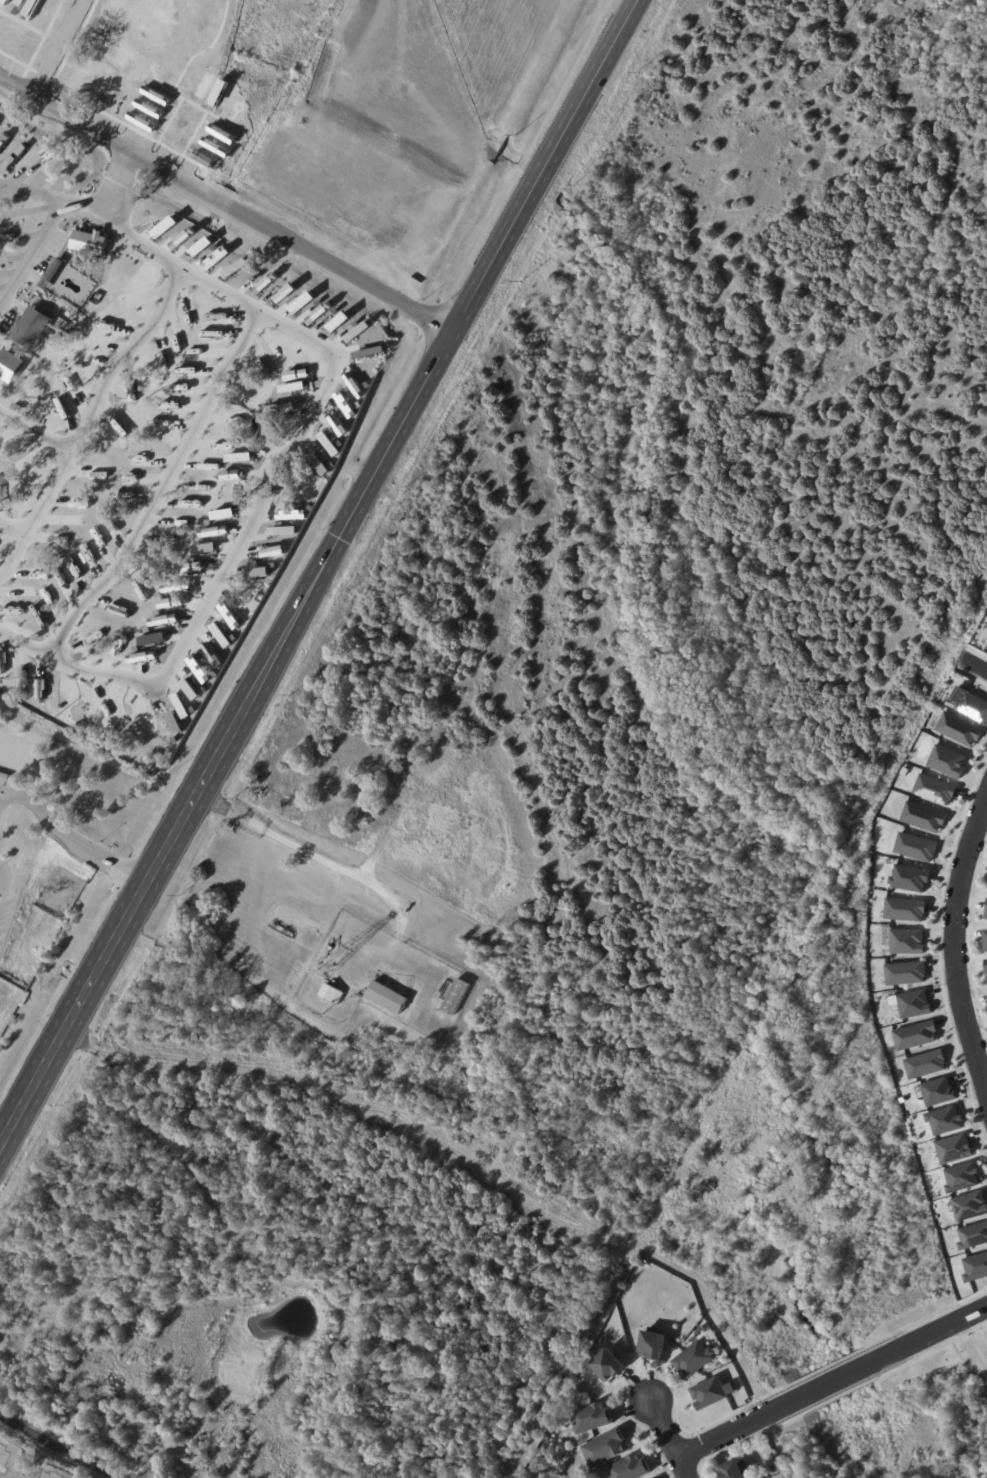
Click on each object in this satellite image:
road: (54, 48)
building: (3, 139)
road: (114, 182)
road: (31, 192)
road: (6, 195)
road: (226, 205)
building: (90, 242)
road: (32, 253)
road: (198, 276)
building: (30, 327)
building: (3, 348)
building: (10, 365)
road: (88, 419)
road: (35, 431)
building: (319, 463)
road: (161, 488)
building: (289, 514)
road: (251, 518)
road: (11, 525)
building: (279, 530)
building: (86, 555)
road: (319, 572)
road: (976, 663)
road: (79, 667)
building: (973, 705)
building: (959, 729)
building: (947, 760)
parking lot: (4, 775)
building: (370, 778)
building: (936, 787)
building: (924, 815)
road: (71, 838)
building: (916, 845)
road: (307, 851)
building: (910, 877)
road: (0, 879)
building: (905, 909)
parking lot: (6, 911)
building: (986, 916)
building: (985, 940)
parking lot: (1, 941)
building: (906, 941)
road: (954, 945)
building: (986, 967)
building: (905, 972)
building: (330, 991)
building: (387, 996)
building: (456, 996)
building: (913, 1003)
building: (914, 1033)
building: (924, 1062)
building: (937, 1091)
building: (944, 1120)
building: (953, 1147)
building: (961, 1176)
building: (969, 1205)
building: (972, 1234)
building: (975, 1266)
building: (699, 1331)
road: (933, 1333)
building: (653, 1344)
building: (694, 1359)
building: (608, 1365)
road: (831, 1382)
building: (710, 1391)
building: (591, 1418)
road: (728, 1432)
road: (665, 1437)
road: (56, 1447)
building: (605, 1448)
building: (629, 1467)
building: (773, 1468)
building: (732, 1469)

